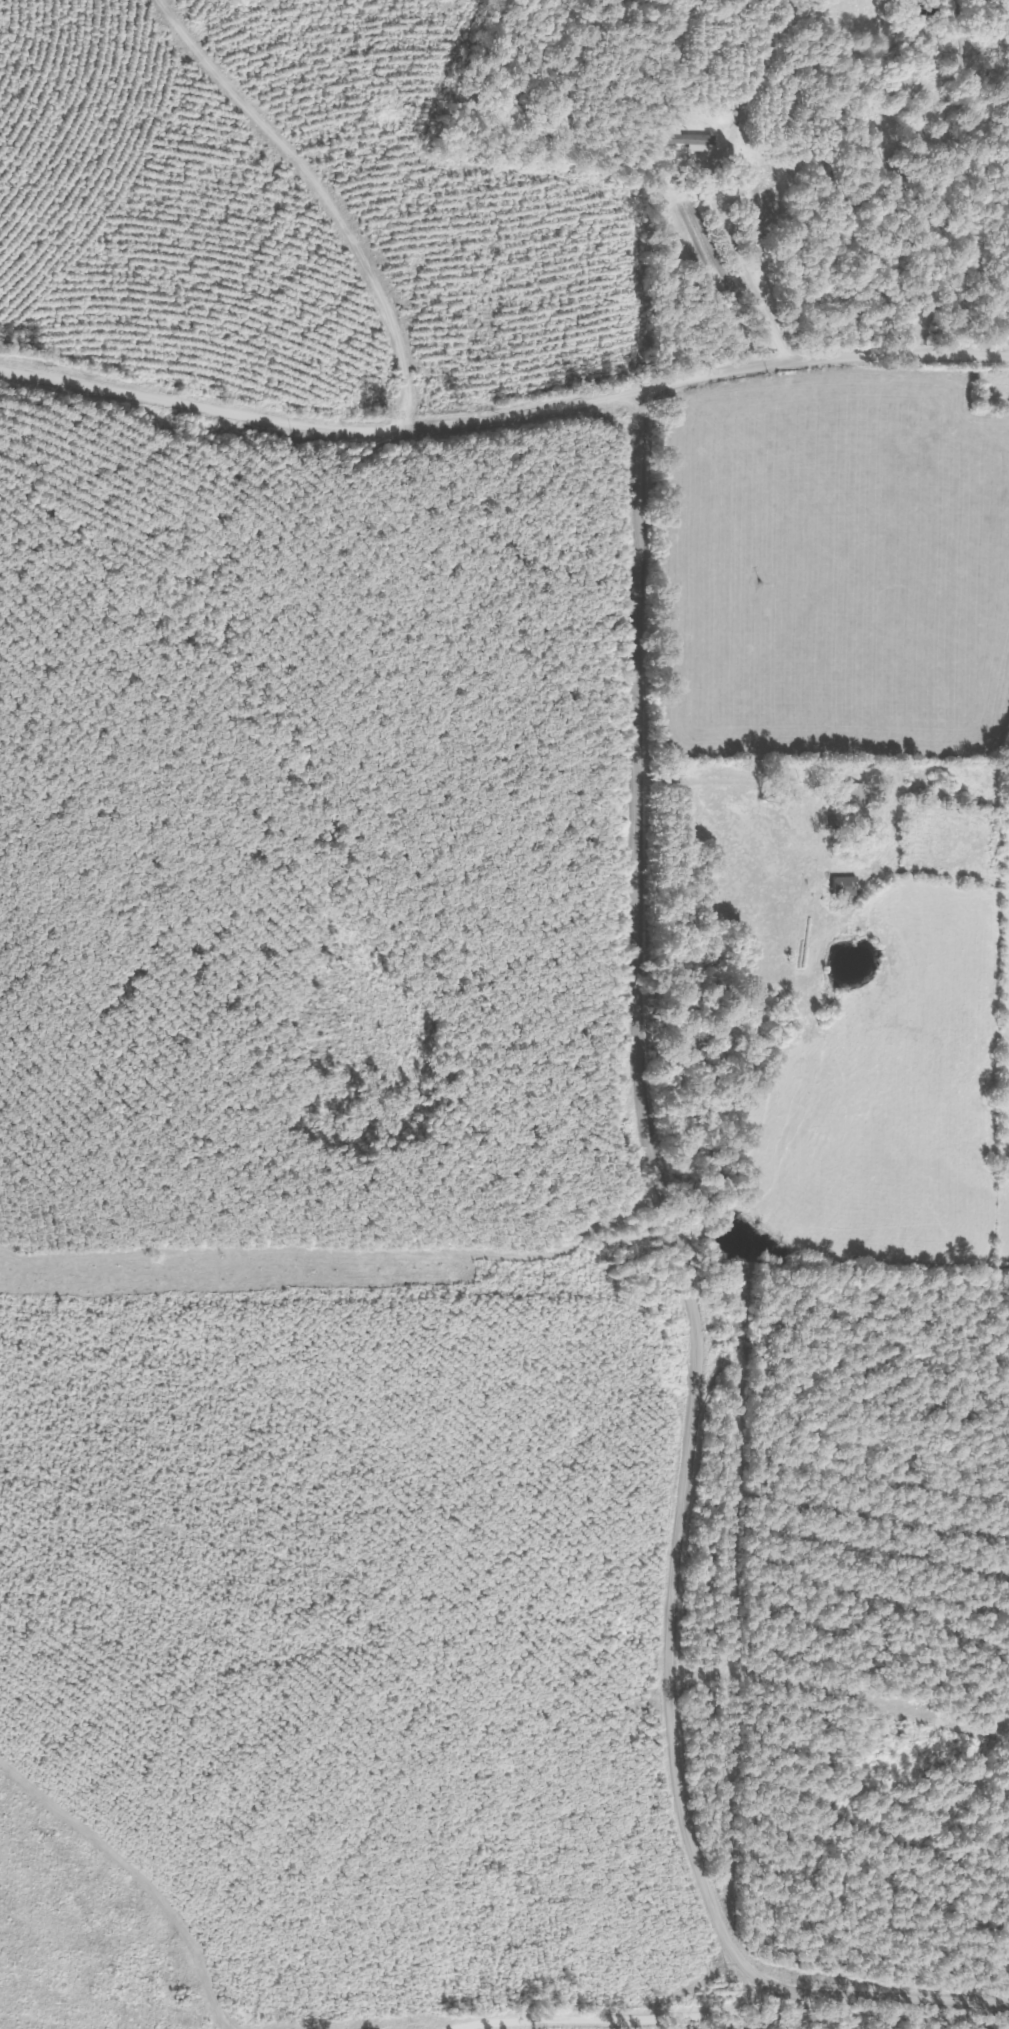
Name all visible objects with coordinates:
road: (736, 263)
road: (504, 418)
road: (725, 781)
building: (851, 793)
building: (842, 885)
road: (669, 1222)
road: (758, 2004)

